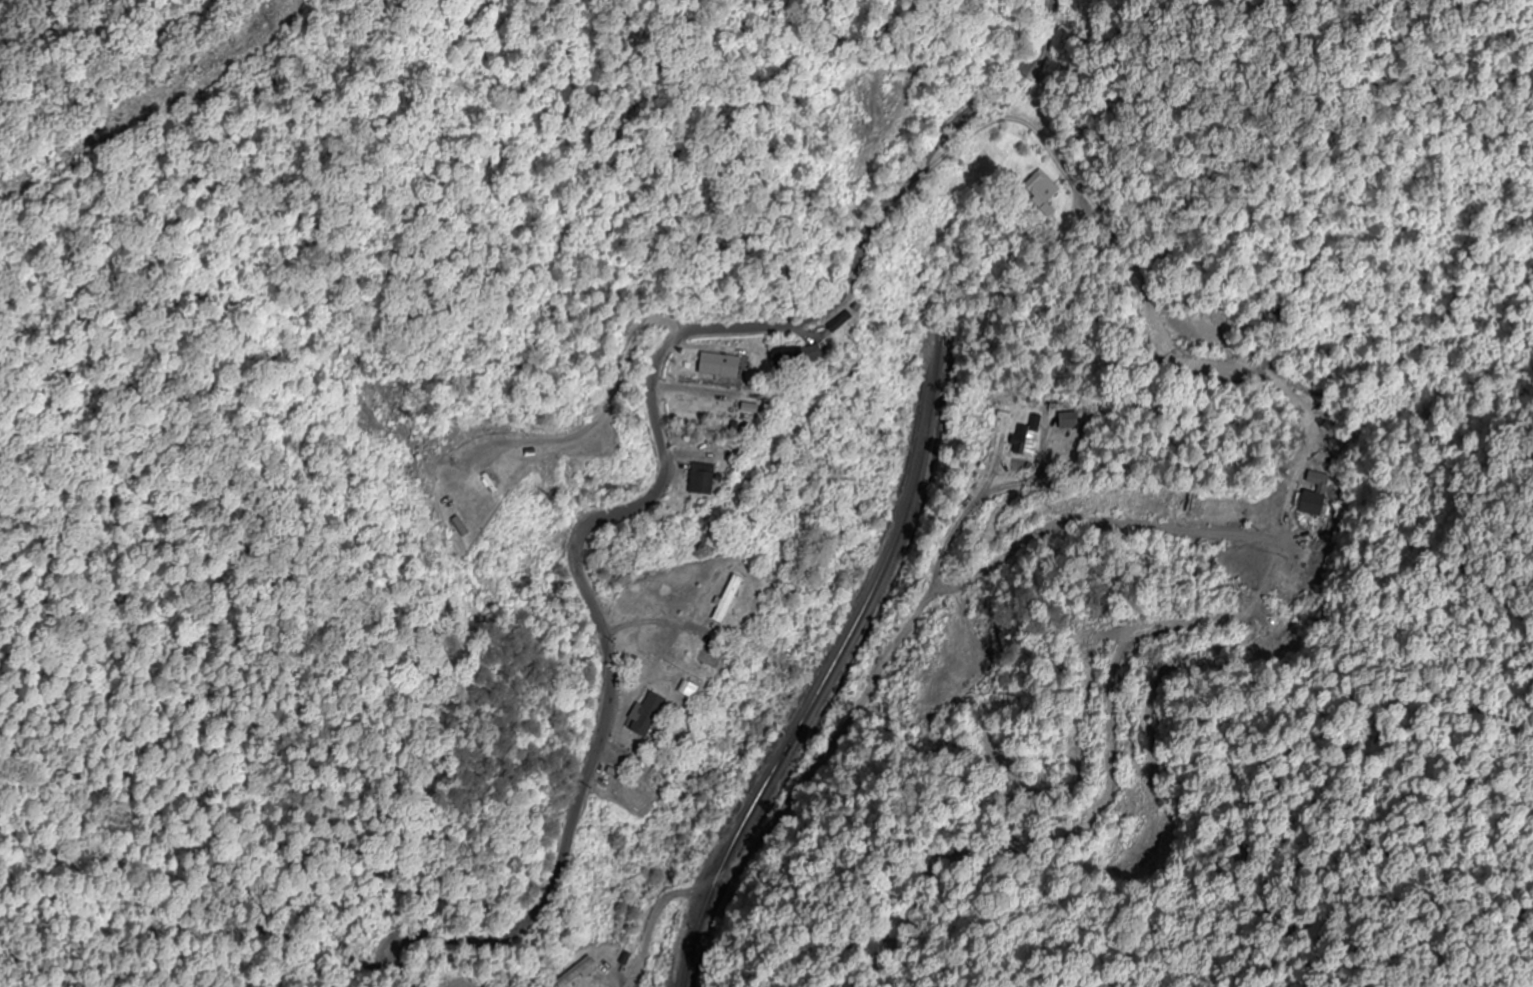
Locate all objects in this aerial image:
building: (1044, 187)
building: (816, 354)
building: (726, 365)
building: (1068, 421)
building: (1029, 439)
road: (602, 440)
building: (503, 474)
building: (707, 478)
railway: (835, 665)
road: (1177, 764)
building: (577, 972)
road: (245, 975)
road: (394, 978)

